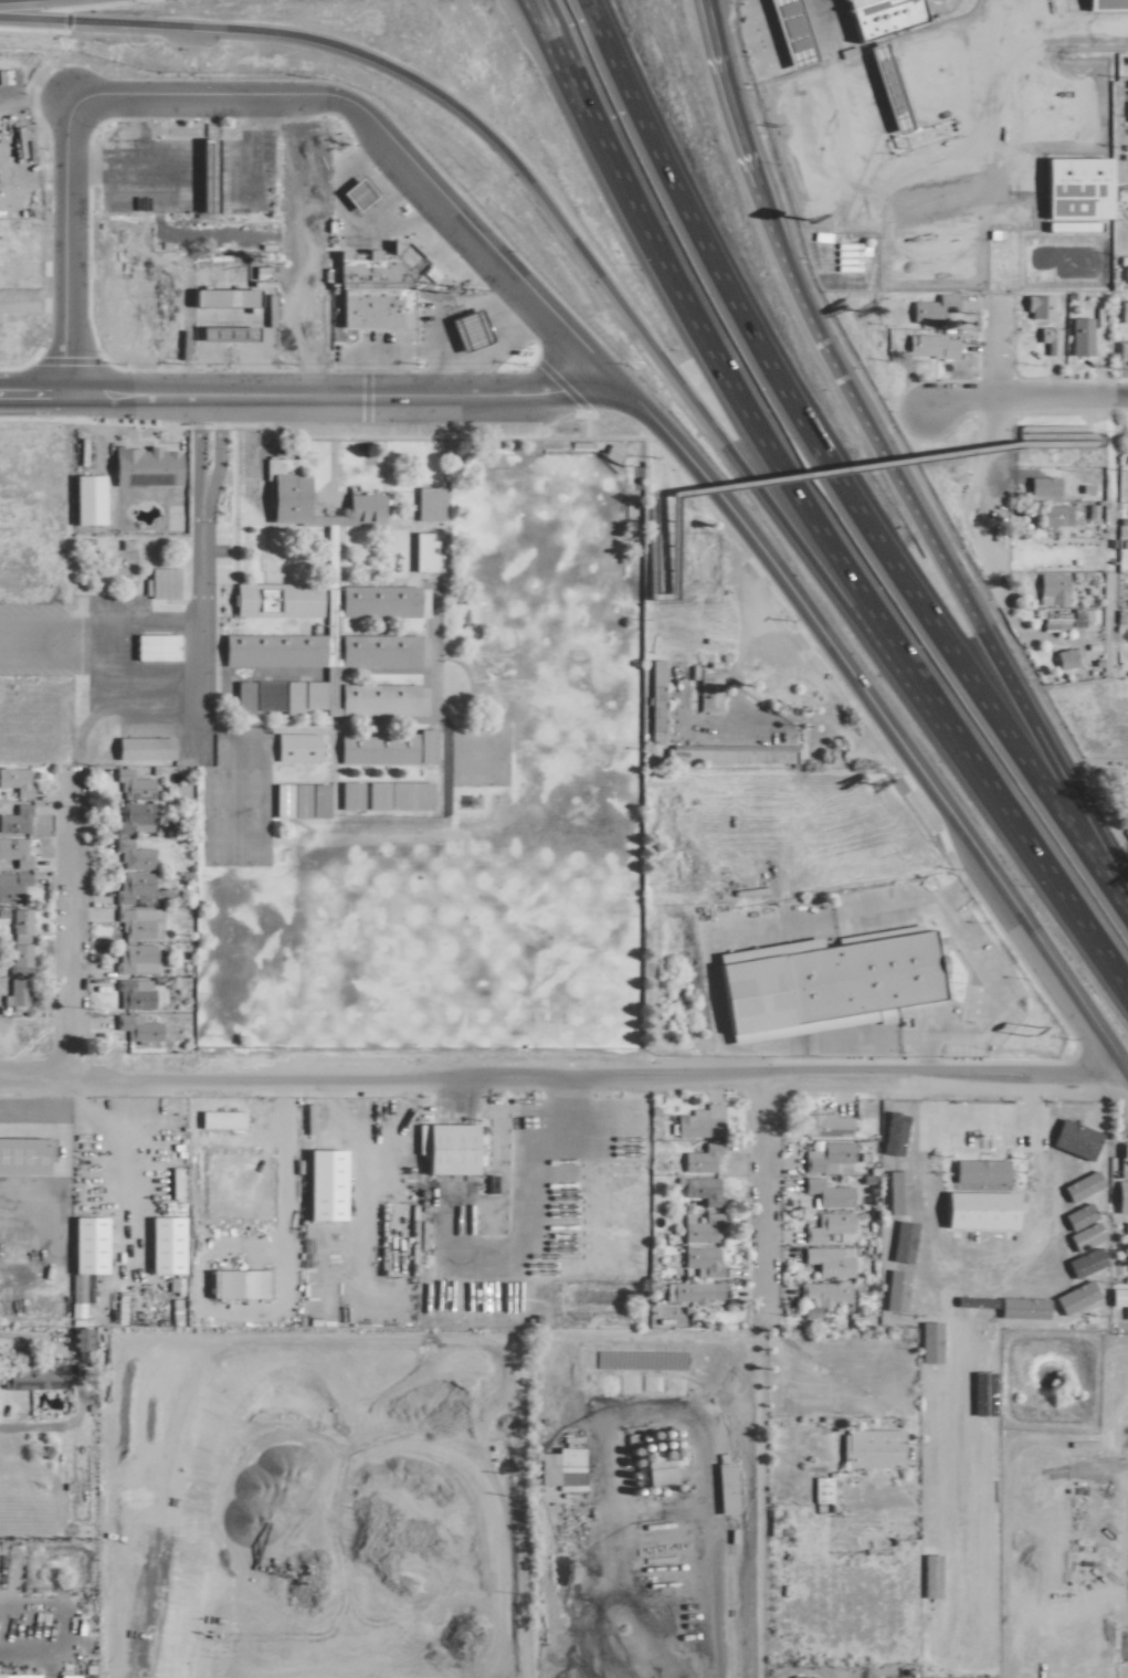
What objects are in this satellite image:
road: (542, 38)
road: (348, 101)
building: (351, 193)
road: (570, 239)
road: (61, 247)
building: (935, 266)
building: (375, 285)
building: (220, 296)
road: (31, 305)
building: (1036, 307)
road: (801, 308)
building: (930, 308)
building: (1121, 312)
building: (213, 333)
road: (569, 334)
building: (1078, 337)
building: (1045, 339)
building: (928, 346)
road: (434, 348)
road: (447, 371)
road: (729, 389)
road: (33, 393)
road: (213, 394)
road: (483, 394)
road: (1023, 395)
road: (1084, 423)
road: (268, 433)
road: (994, 441)
building: (18, 454)
road: (829, 462)
building: (143, 465)
road: (848, 467)
building: (349, 469)
road: (644, 469)
building: (283, 483)
building: (1040, 487)
building: (32, 489)
building: (83, 498)
building: (425, 503)
building: (1050, 516)
building: (422, 551)
building: (159, 582)
building: (1050, 588)
building: (272, 600)
building: (379, 601)
building: (1052, 615)
road: (750, 627)
building: (151, 646)
building: (379, 650)
building: (1064, 658)
road: (193, 677)
building: (653, 678)
building: (706, 692)
building: (299, 695)
building: (255, 696)
road: (876, 709)
road: (720, 726)
road: (78, 736)
road: (1043, 742)
building: (293, 746)
building: (383, 747)
building: (139, 748)
building: (252, 750)
building: (14, 780)
building: (129, 784)
building: (383, 794)
building: (133, 817)
building: (15, 819)
building: (14, 852)
building: (130, 854)
road: (1046, 875)
building: (12, 884)
building: (133, 887)
road: (1122, 904)
road: (823, 919)
building: (137, 922)
building: (19, 925)
road: (65, 930)
building: (18, 958)
building: (134, 958)
road: (983, 974)
building: (17, 991)
building: (133, 993)
building: (135, 1026)
road: (558, 1076)
road: (458, 1093)
road: (980, 1114)
road: (587, 1116)
building: (217, 1119)
building: (698, 1121)
building: (824, 1125)
building: (443, 1148)
road: (577, 1155)
building: (824, 1155)
building: (21, 1157)
building: (700, 1158)
building: (1120, 1178)
building: (698, 1189)
road: (761, 1192)
building: (826, 1193)
road: (512, 1200)
building: (829, 1226)
building: (698, 1227)
building: (1124, 1230)
building: (1126, 1255)
building: (699, 1260)
building: (829, 1260)
building: (824, 1292)
building: (1118, 1299)
building: (809, 1312)
building: (138, 1315)
building: (77, 1339)
building: (29, 1375)
road: (75, 1384)
building: (869, 1448)
building: (541, 1468)
building: (654, 1471)
building: (720, 1488)
building: (819, 1489)
road: (714, 1600)
road: (35, 1657)

